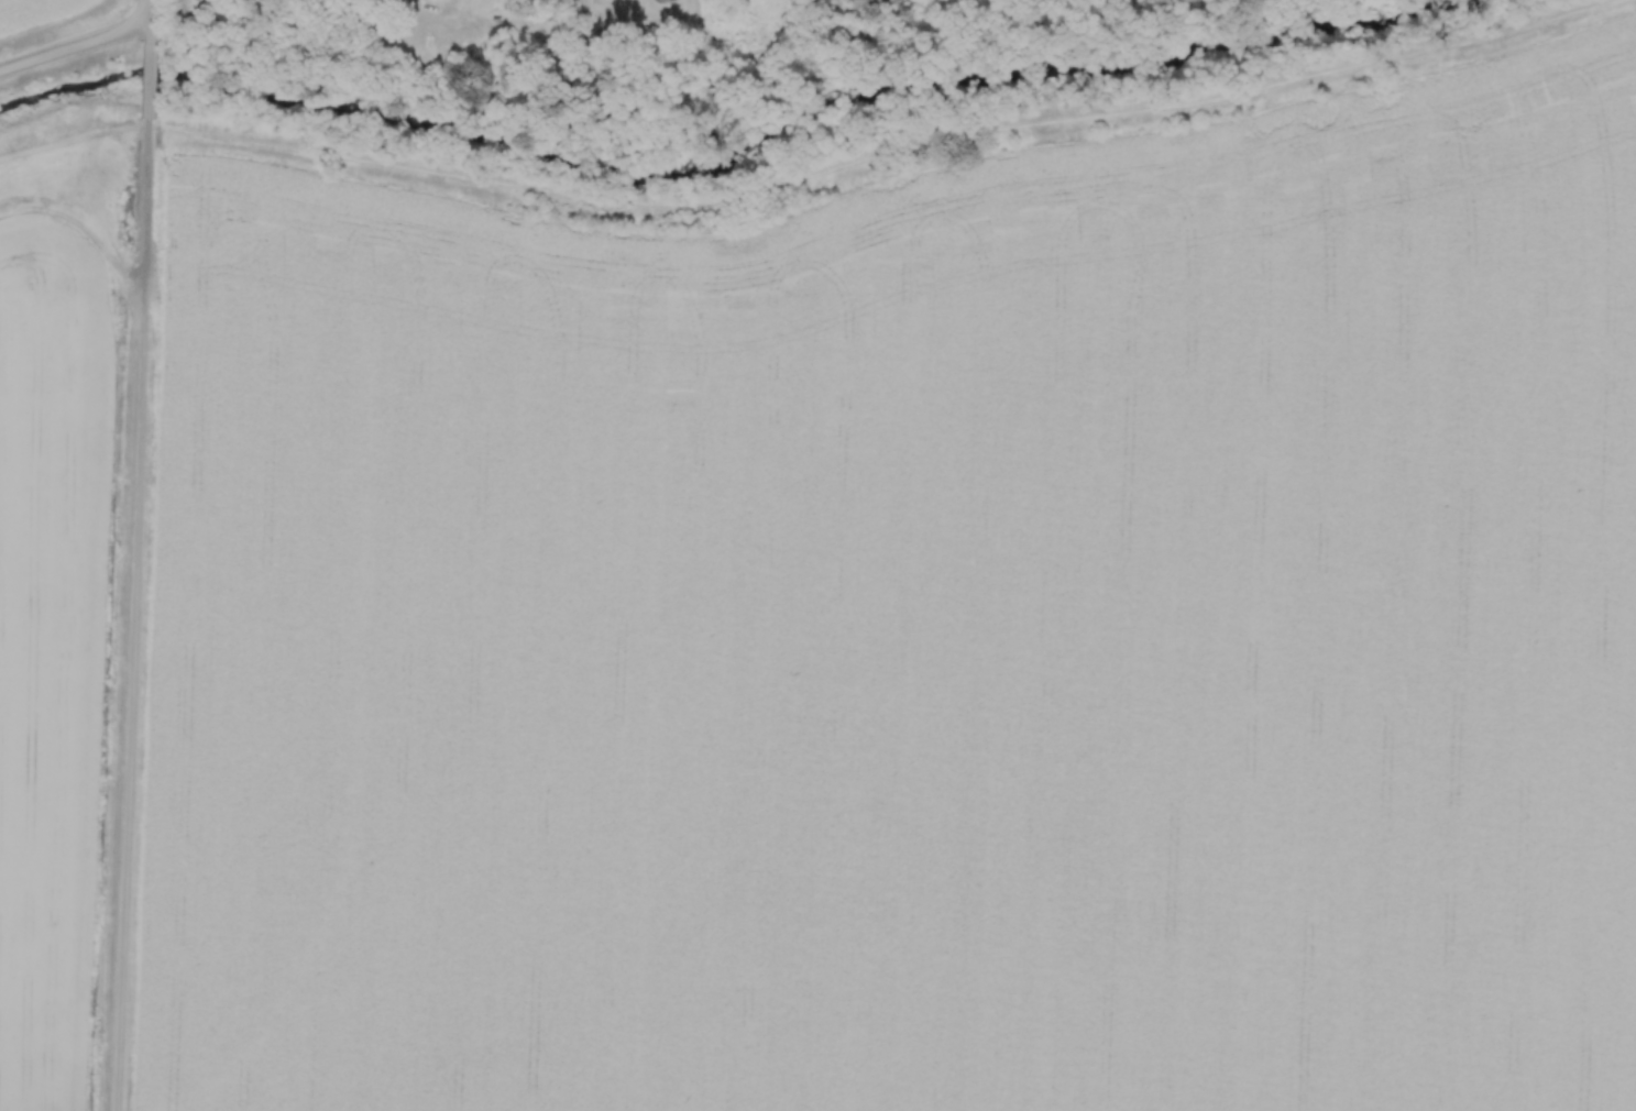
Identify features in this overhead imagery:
road: (348, 1)
building: (540, 2)
building: (223, 3)
building: (866, 8)
road: (146, 13)
road: (580, 38)
road: (74, 50)
road: (125, 568)

